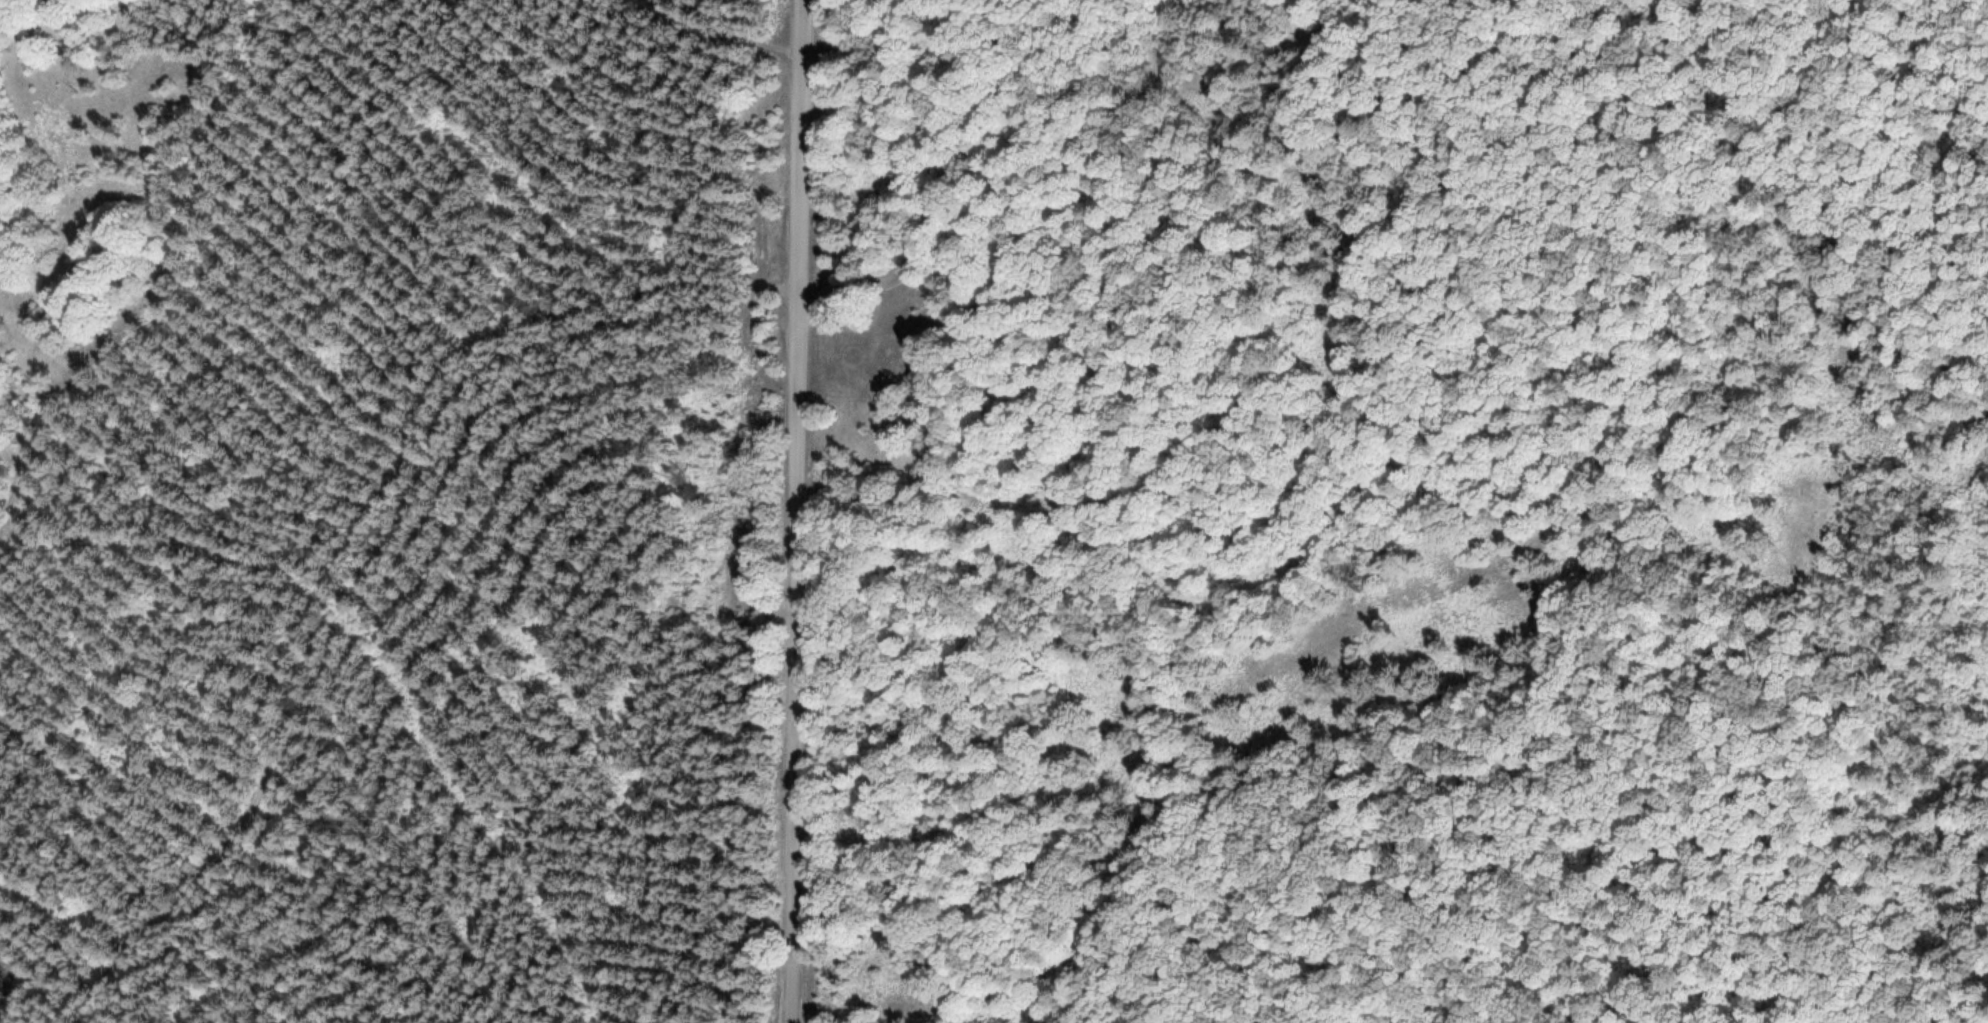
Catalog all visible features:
road: (709, 40)
road: (949, 183)
road: (793, 511)
road: (348, 535)
road: (1316, 587)
road: (1881, 619)
road: (1746, 894)
road: (1417, 899)
road: (1142, 905)
road: (1119, 1022)

